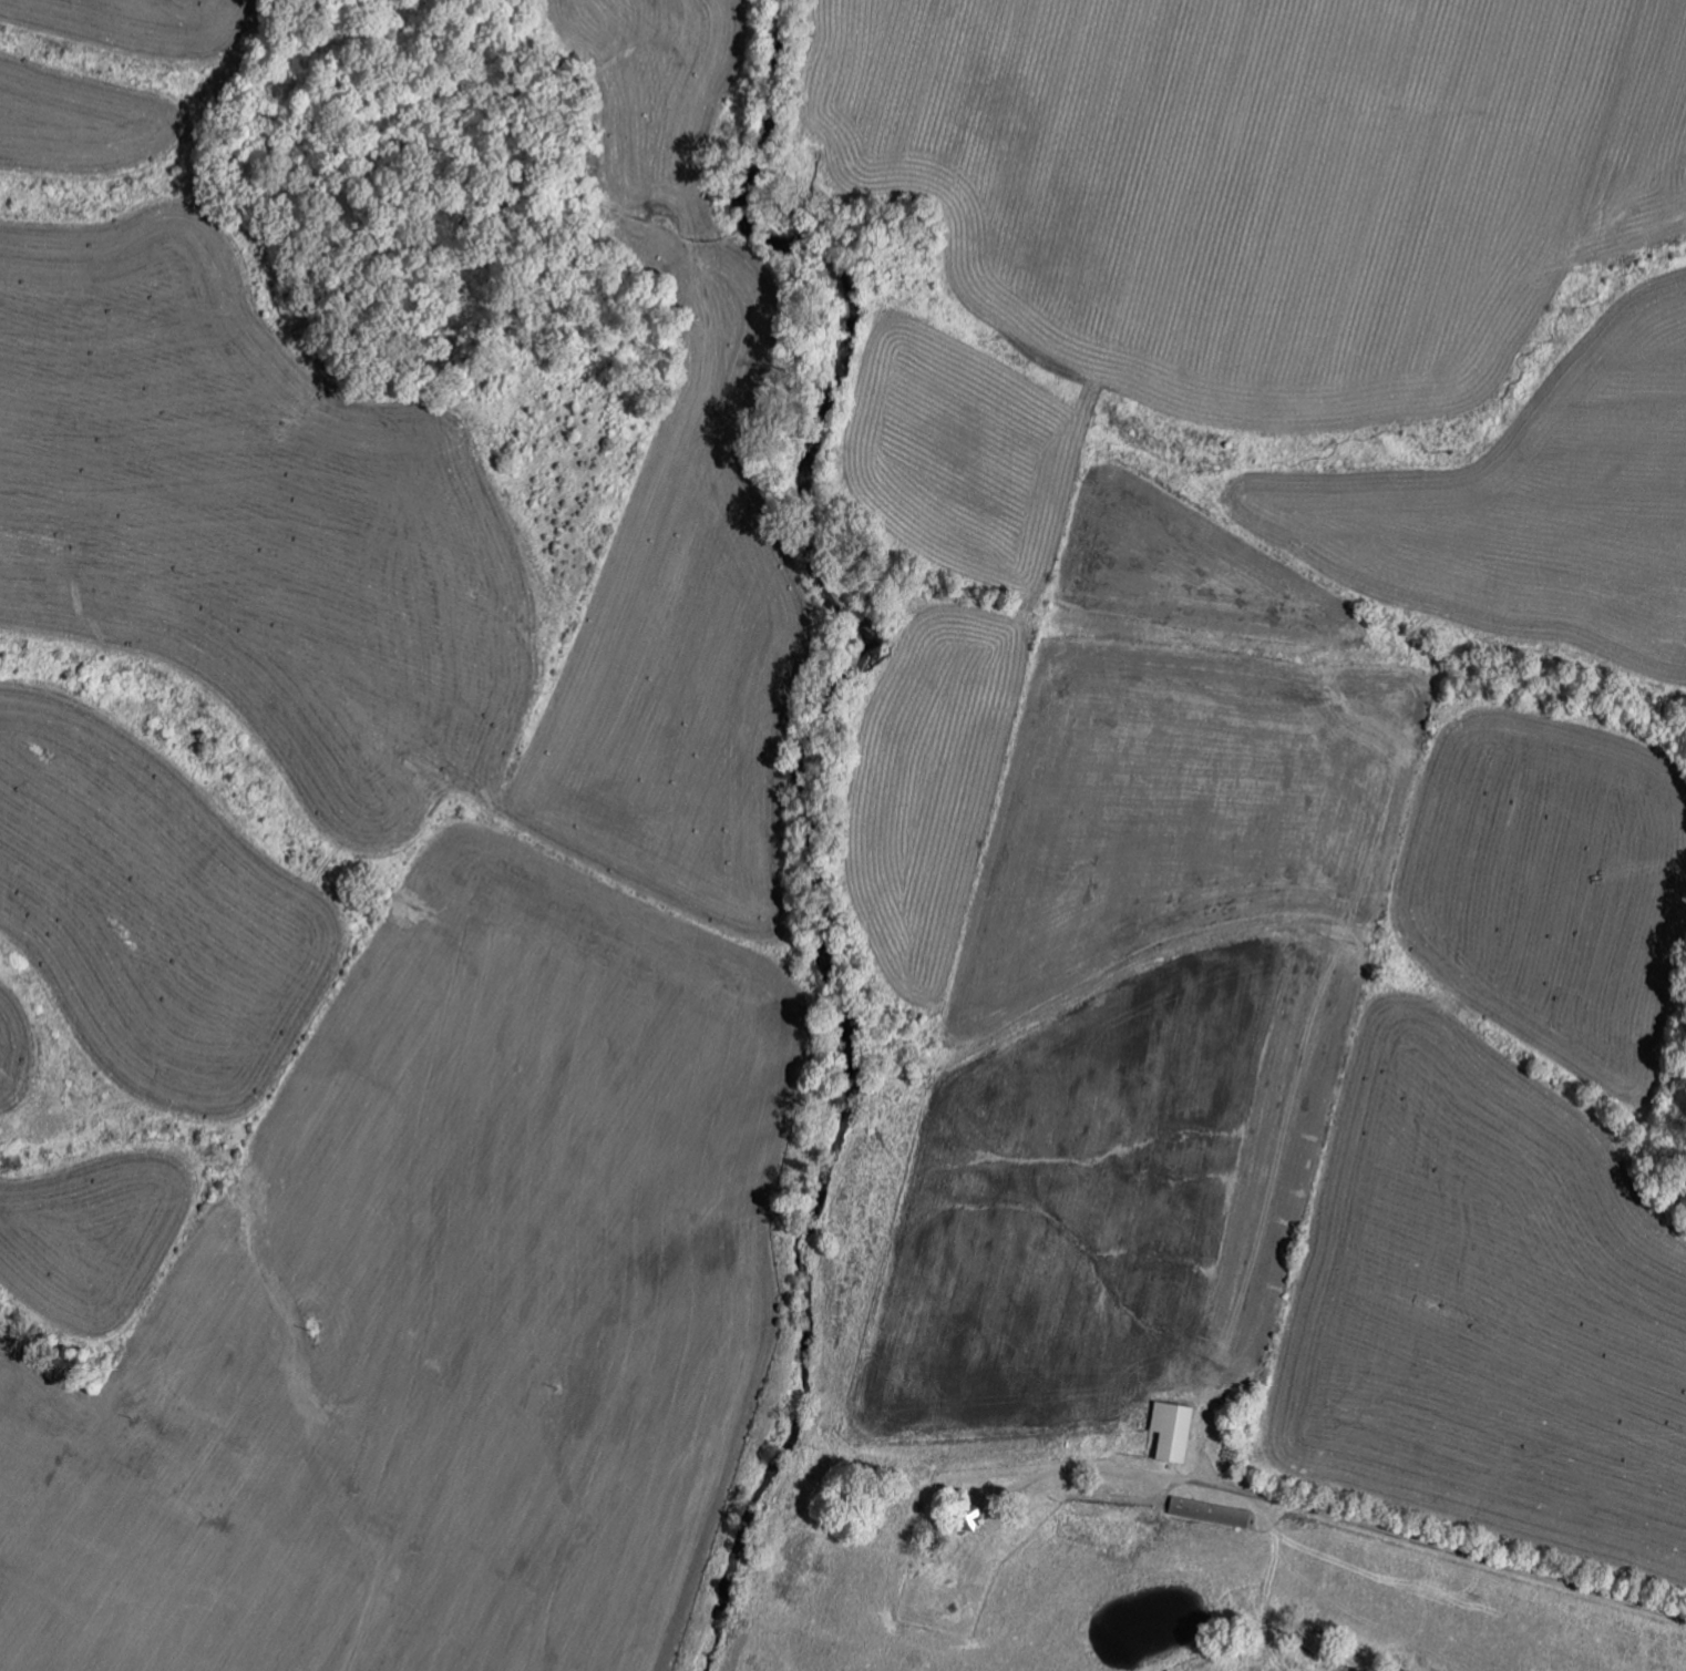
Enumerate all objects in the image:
building: (1174, 1429)
road: (1082, 1467)
building: (1212, 1511)
road: (1442, 1548)

